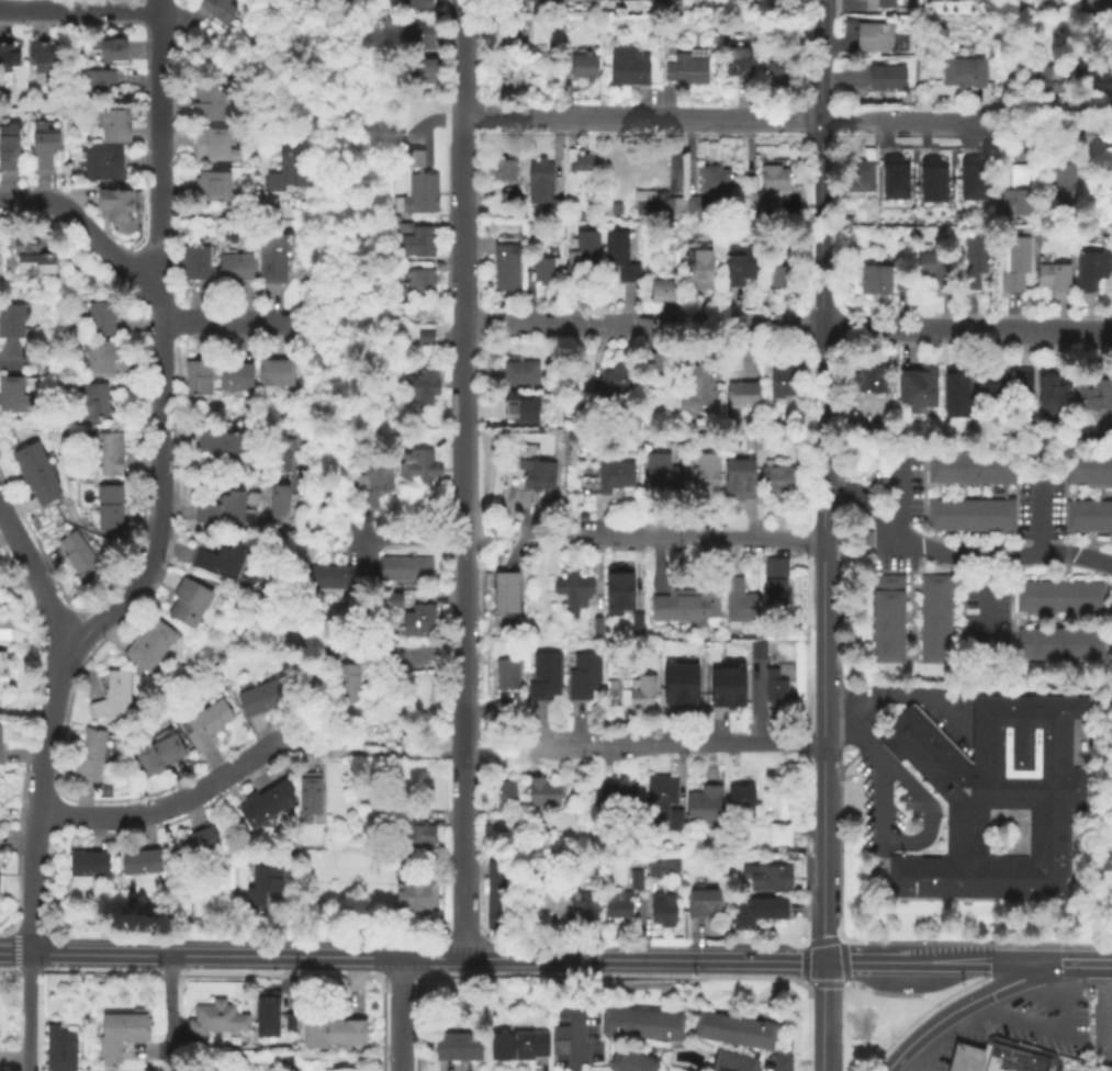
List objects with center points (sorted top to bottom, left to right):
building: (505, 0)
building: (575, 0)
building: (620, 0)
building: (660, 1)
building: (411, 4)
building: (885, 4)
road: (156, 5)
building: (1098, 5)
road: (819, 9)
road: (78, 10)
building: (215, 10)
building: (496, 33)
building: (417, 36)
building: (870, 37)
building: (108, 52)
building: (40, 57)
building: (8, 59)
building: (738, 64)
building: (552, 66)
building: (583, 68)
building: (628, 68)
building: (687, 68)
building: (963, 72)
building: (422, 74)
building: (509, 75)
building: (776, 76)
building: (886, 80)
building: (1054, 81)
building: (1099, 82)
building: (98, 89)
building: (206, 104)
road: (1045, 109)
road: (641, 116)
road: (965, 119)
building: (112, 127)
building: (8, 147)
building: (212, 147)
building: (43, 148)
road: (158, 157)
building: (580, 166)
building: (101, 168)
building: (502, 169)
building: (1020, 176)
building: (862, 177)
building: (288, 179)
building: (774, 179)
building: (897, 179)
building: (975, 179)
building: (934, 180)
building: (714, 181)
building: (1111, 187)
building: (211, 188)
building: (415, 188)
building: (1062, 188)
building: (542, 189)
building: (660, 201)
building: (756, 203)
building: (1012, 204)
building: (504, 205)
building: (614, 210)
building: (115, 211)
building: (694, 211)
road: (234, 215)
road: (90, 233)
building: (414, 240)
road: (818, 253)
building: (31, 257)
building: (272, 258)
building: (580, 258)
building: (618, 258)
building: (194, 263)
building: (505, 263)
building: (973, 263)
building: (1013, 263)
building: (698, 264)
building: (740, 267)
building: (234, 268)
building: (543, 270)
building: (934, 272)
building: (1091, 272)
building: (1053, 279)
building: (419, 282)
building: (874, 282)
building: (778, 283)
building: (900, 284)
building: (664, 292)
road: (784, 313)
road: (899, 313)
building: (100, 319)
building: (12, 322)
road: (221, 322)
road: (788, 328)
building: (425, 338)
road: (9, 358)
building: (97, 358)
building: (651, 364)
road: (159, 367)
building: (519, 373)
building: (274, 374)
building: (234, 377)
building: (784, 379)
building: (198, 380)
building: (869, 382)
building: (420, 387)
building: (617, 387)
building: (1000, 388)
building: (697, 392)
building: (918, 393)
building: (954, 394)
building: (1053, 395)
building: (1093, 396)
building: (14, 397)
building: (740, 399)
building: (93, 403)
building: (518, 410)
building: (775, 421)
building: (693, 425)
building: (224, 449)
building: (280, 453)
building: (110, 455)
building: (417, 470)
building: (968, 470)
building: (529, 471)
building: (1088, 471)
building: (34, 474)
road: (159, 475)
building: (704, 475)
building: (661, 476)
road: (464, 477)
building: (614, 477)
building: (776, 481)
building: (738, 482)
building: (372, 483)
road: (891, 487)
building: (277, 508)
building: (108, 510)
building: (221, 512)
road: (1035, 512)
road: (336, 518)
building: (969, 518)
building: (1088, 518)
road: (16, 537)
road: (699, 538)
road: (412, 539)
road: (544, 542)
road: (956, 556)
building: (79, 561)
building: (218, 564)
building: (774, 568)
building: (405, 571)
building: (328, 578)
building: (617, 591)
building: (506, 595)
building: (572, 595)
road: (128, 597)
building: (1057, 597)
building: (774, 598)
building: (391, 601)
building: (188, 604)
building: (737, 605)
road: (49, 606)
building: (686, 606)
road: (980, 607)
building: (886, 620)
building: (934, 621)
building: (419, 622)
building: (636, 624)
building: (596, 629)
building: (3, 631)
building: (1057, 645)
building: (148, 649)
building: (755, 652)
road: (416, 656)
building: (2, 657)
building: (506, 677)
building: (543, 679)
building: (2, 680)
building: (583, 680)
building: (679, 683)
building: (344, 685)
building: (726, 686)
building: (774, 689)
road: (52, 695)
building: (640, 695)
road: (905, 697)
building: (261, 699)
building: (112, 700)
road: (820, 724)
building: (204, 725)
building: (0, 746)
road: (674, 747)
road: (370, 753)
building: (158, 757)
building: (89, 759)
road: (471, 760)
road: (514, 764)
road: (36, 779)
road: (903, 782)
building: (543, 793)
building: (614, 798)
building: (308, 800)
building: (740, 800)
building: (992, 800)
building: (498, 802)
building: (662, 803)
road: (166, 805)
building: (703, 808)
building: (258, 810)
road: (875, 811)
building: (778, 835)
building: (418, 838)
building: (196, 844)
building: (139, 864)
building: (88, 866)
building: (662, 869)
building: (766, 878)
building: (633, 880)
road: (30, 882)
building: (262, 894)
building: (415, 898)
building: (547, 900)
building: (497, 901)
building: (583, 905)
building: (617, 905)
building: (701, 905)
building: (661, 911)
building: (767, 911)
building: (742, 916)
road: (12, 949)
road: (361, 954)
road: (757, 958)
traffic signals: (819, 959)
road: (869, 960)
road: (955, 960)
road: (1024, 960)
traffic signals: (1058, 961)
road: (1085, 961)
road: (921, 993)
road: (961, 1002)
road: (25, 1010)
road: (1109, 1011)
road: (169, 1012)
building: (265, 1013)
road: (397, 1013)
road: (819, 1015)
building: (288, 1019)
building: (217, 1022)
building: (641, 1024)
road: (1040, 1029)
building: (733, 1031)
building: (120, 1034)
building: (333, 1035)
road: (574, 1040)
building: (559, 1041)
building: (457, 1046)
building: (517, 1046)
road: (923, 1046)
building: (58, 1049)
building: (999, 1056)
building: (965, 1058)
building: (1035, 1060)
building: (629, 1061)
building: (732, 1062)
road: (778, 1063)
building: (341, 1070)

